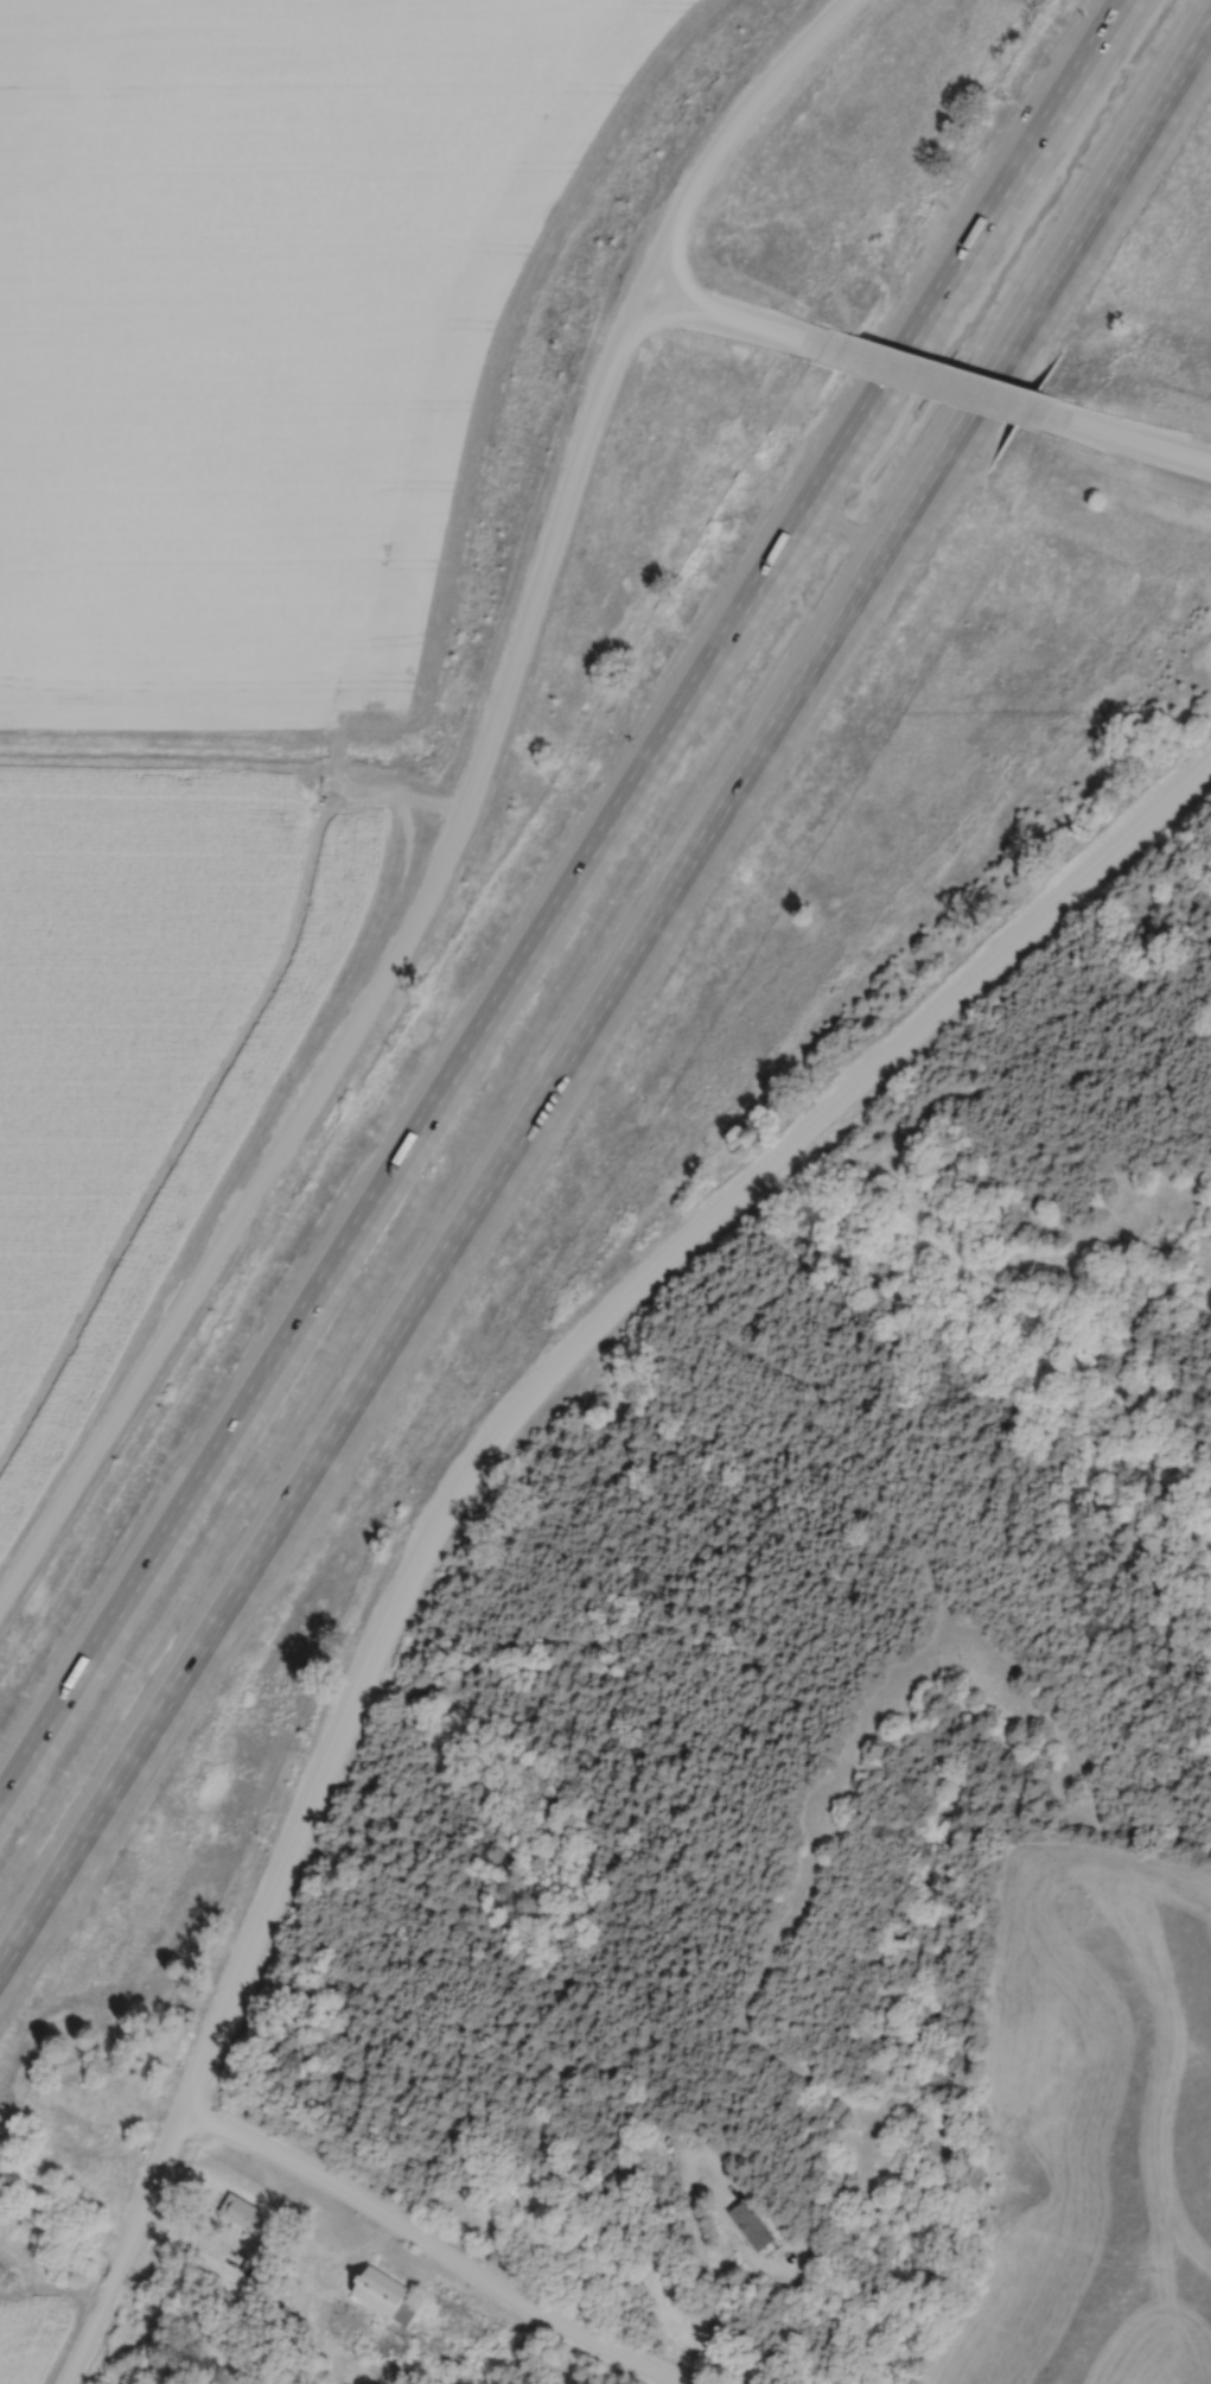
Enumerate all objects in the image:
road: (745, 113)
road: (707, 317)
road: (649, 319)
road: (925, 386)
road: (1133, 447)
road: (563, 903)
road: (389, 952)
road: (608, 1026)
road: (477, 1460)
building: (241, 2212)
building: (754, 2225)
road: (425, 2249)
road: (304, 2255)
road: (697, 2256)
building: (388, 2296)

